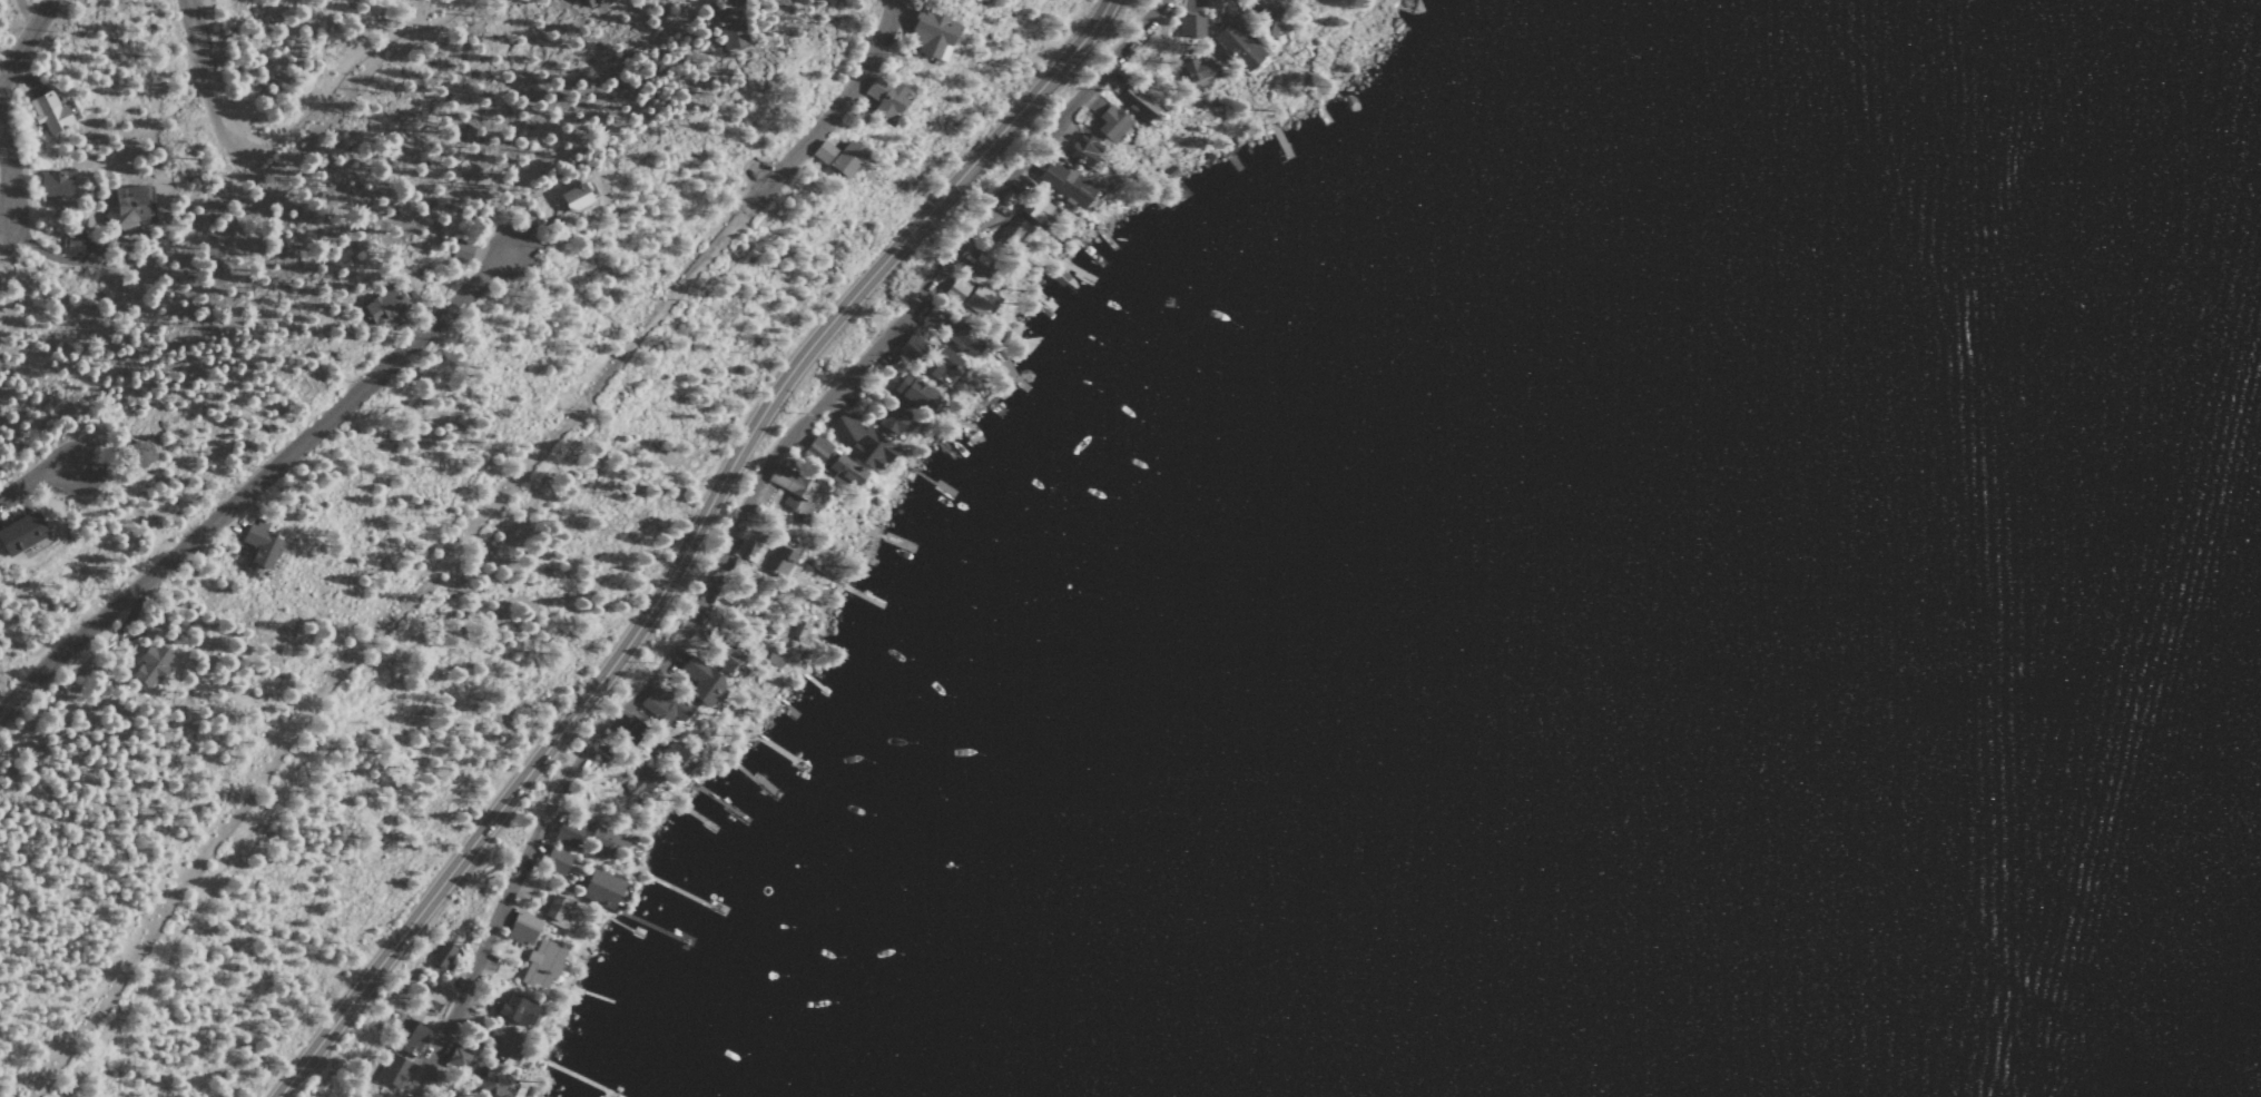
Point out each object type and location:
building: (1304, 0)
building: (591, 3)
building: (1212, 3)
building: (1268, 14)
road: (190, 27)
building: (1189, 27)
building: (727, 29)
building: (928, 31)
road: (26, 40)
building: (1235, 46)
road: (354, 63)
building: (1195, 69)
building: (883, 99)
building: (1134, 102)
pier: (1320, 110)
building: (45, 112)
road: (816, 117)
road: (219, 119)
building: (1108, 122)
pier: (1278, 140)
building: (1080, 149)
building: (822, 152)
pier: (1229, 158)
building: (844, 159)
road: (8, 180)
building: (50, 184)
building: (1064, 184)
pier: (1171, 188)
building: (571, 198)
building: (127, 207)
building: (1034, 209)
building: (1012, 231)
pier: (1103, 238)
building: (70, 244)
building: (460, 251)
pier: (1089, 253)
building: (980, 264)
pier: (1069, 268)
pier: (1063, 274)
building: (954, 290)
building: (977, 298)
pier: (1039, 298)
building: (380, 306)
building: (960, 337)
pier: (1018, 340)
building: (910, 347)
building: (936, 362)
pier: (1010, 377)
building: (912, 392)
pier: (989, 404)
building: (892, 419)
pier: (966, 426)
building: (859, 442)
pier: (941, 445)
building: (132, 455)
building: (830, 463)
road: (254, 475)
road: (33, 480)
pier: (927, 480)
building: (797, 491)
road: (738, 517)
building: (19, 533)
road: (687, 543)
building: (258, 546)
building: (745, 550)
building: (779, 562)
pier: (877, 565)
pier: (862, 596)
building: (796, 629)
road: (360, 645)
building: (722, 658)
building: (147, 665)
pier: (810, 681)
building: (697, 682)
pier: (786, 706)
building: (662, 708)
building: (626, 732)
pier: (775, 749)
pier: (749, 775)
building: (641, 781)
pier: (716, 799)
pier: (695, 816)
building: (603, 842)
building: (552, 861)
building: (599, 889)
pier: (680, 892)
building: (558, 913)
pier: (658, 926)
pier: (622, 927)
building: (520, 929)
building: (441, 957)
building: (540, 965)
pier: (590, 996)
building: (514, 1010)
building: (409, 1037)
building: (504, 1046)
building: (454, 1058)
building: (392, 1070)
building: (490, 1079)
pier: (586, 1079)

